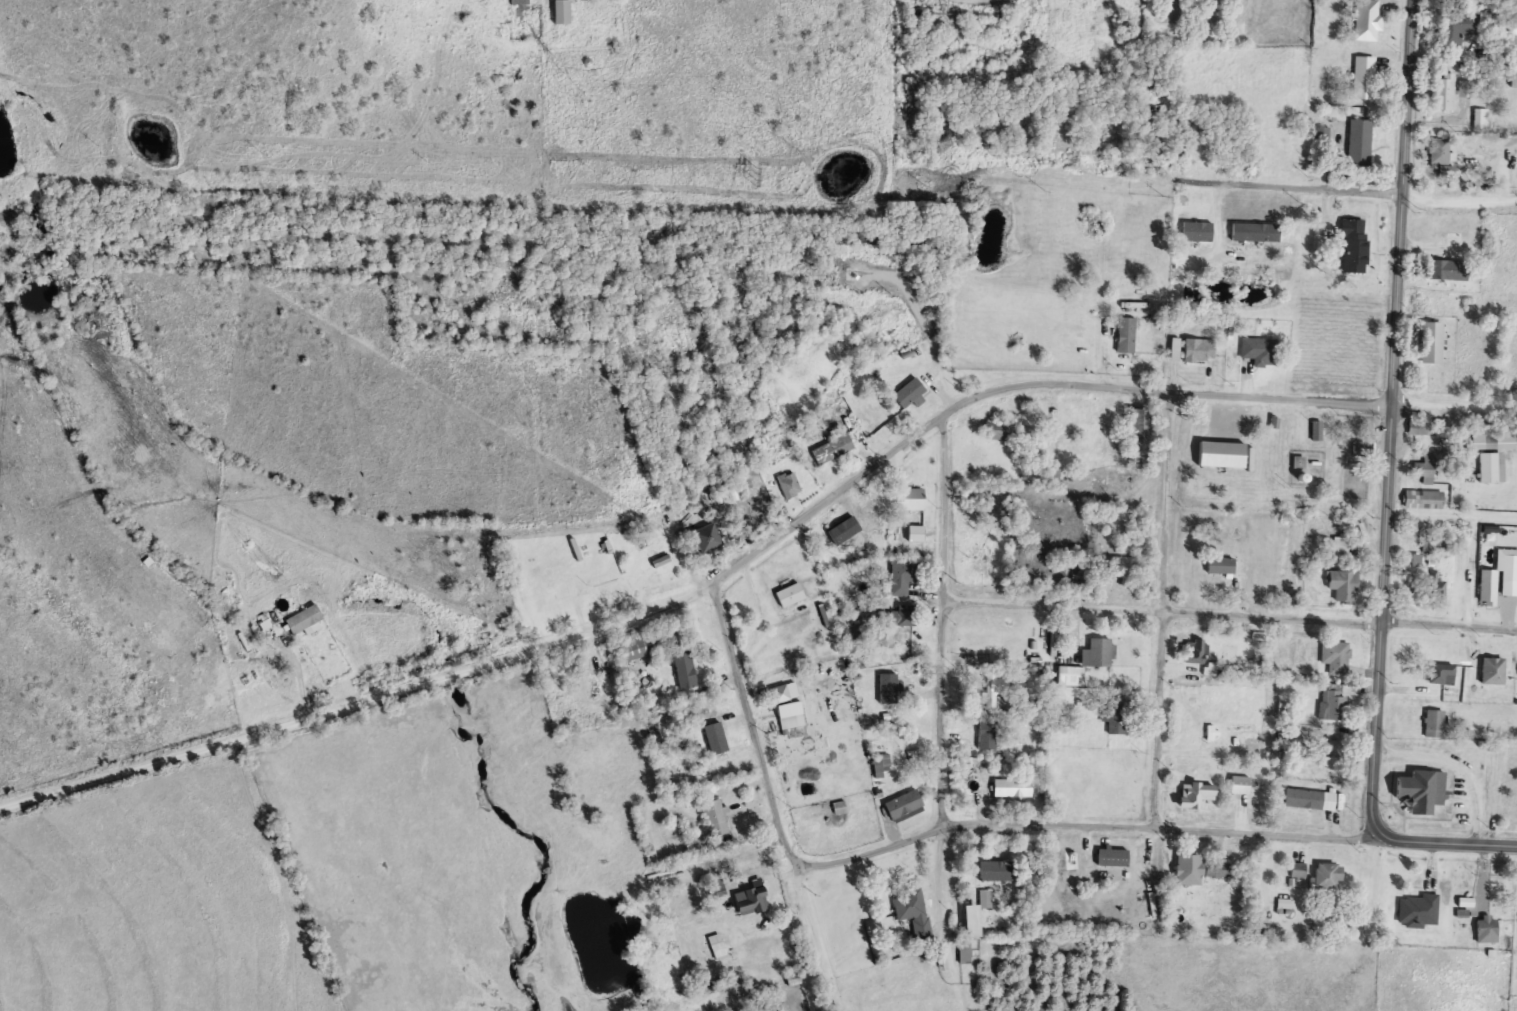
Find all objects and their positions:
building: (520, 1)
building: (1173, 1)
building: (912, 9)
building: (561, 12)
road: (1216, 14)
building: (1365, 18)
building: (1455, 26)
building: (1363, 76)
building: (1514, 78)
building: (1466, 90)
building: (1445, 92)
building: (1482, 118)
building: (1359, 140)
building: (1148, 145)
road: (1409, 147)
building: (1440, 153)
road: (1280, 184)
road: (1461, 196)
building: (1195, 230)
building: (1253, 231)
building: (1451, 240)
railway: (758, 244)
building: (1352, 244)
building: (1445, 268)
building: (1123, 334)
building: (1431, 343)
building: (1197, 349)
building: (1257, 350)
road: (1165, 389)
building: (907, 391)
road: (1455, 402)
building: (1278, 411)
building: (1416, 426)
building: (998, 429)
building: (1314, 429)
building: (1138, 430)
building: (1491, 438)
building: (830, 448)
building: (1359, 448)
building: (1223, 454)
building: (1491, 467)
building: (1422, 468)
building: (1351, 472)
building: (788, 483)
building: (1348, 488)
building: (1423, 497)
building: (912, 498)
building: (915, 533)
building: (704, 537)
building: (1432, 543)
building: (980, 560)
building: (1221, 564)
road: (1384, 564)
building: (1122, 568)
building: (902, 575)
building: (1427, 579)
building: (1345, 584)
building: (1489, 585)
road: (1162, 609)
building: (903, 614)
building: (303, 618)
road: (1449, 623)
road: (1161, 634)
building: (637, 647)
building: (1192, 650)
building: (1098, 651)
building: (1333, 656)
road: (496, 658)
building: (684, 668)
building: (1441, 670)
road: (942, 671)
building: (1494, 671)
building: (898, 673)
building: (1072, 674)
building: (993, 686)
building: (786, 691)
building: (1334, 704)
building: (792, 715)
building: (1115, 717)
building: (1431, 722)
building: (985, 731)
building: (716, 736)
building: (881, 761)
building: (1240, 784)
building: (1013, 787)
building: (1419, 789)
building: (1197, 795)
road: (773, 797)
building: (901, 797)
building: (1312, 799)
building: (1506, 805)
building: (716, 819)
road: (1080, 823)
road: (1444, 838)
building: (1113, 854)
building: (1196, 868)
building: (1298, 869)
building: (1329, 875)
building: (986, 896)
building: (749, 900)
building: (1419, 909)
building: (913, 910)
building: (973, 922)
building: (1487, 932)
building: (965, 951)

